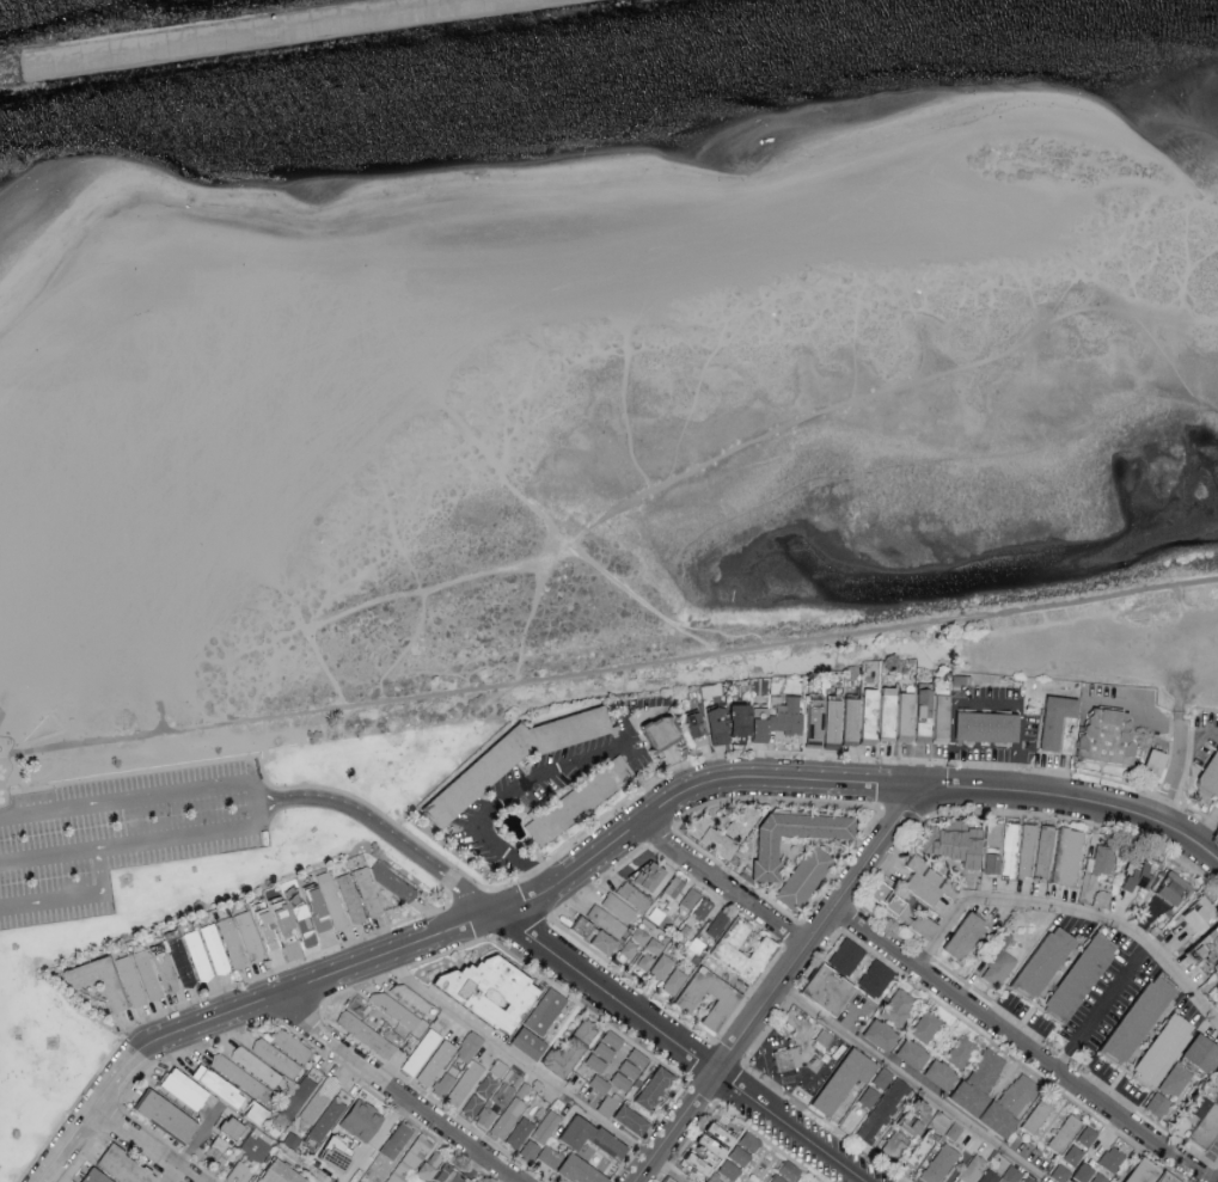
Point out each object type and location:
river: (573, 69)
road: (557, 547)
road: (721, 631)
park: (1107, 648)
road: (608, 669)
road: (987, 706)
road: (1136, 709)
building: (863, 712)
building: (908, 712)
building: (881, 714)
building: (783, 716)
building: (936, 717)
building: (844, 719)
building: (1049, 719)
building: (826, 721)
building: (720, 722)
building: (688, 723)
building: (807, 725)
building: (980, 725)
building: (749, 729)
building: (651, 733)
building: (1101, 734)
road: (1200, 735)
building: (1147, 763)
road: (1179, 768)
building: (1207, 772)
road: (846, 782)
road: (526, 786)
road: (137, 797)
building: (737, 823)
building: (992, 833)
road: (391, 834)
building: (706, 835)
parking lot: (123, 837)
road: (141, 843)
building: (950, 844)
building: (1009, 849)
building: (1026, 850)
building: (1053, 853)
building: (760, 859)
building: (1098, 861)
building: (987, 863)
road: (1186, 868)
building: (1133, 872)
building: (801, 877)
building: (920, 880)
park: (180, 881)
building: (392, 881)
road: (722, 884)
building: (637, 887)
building: (672, 887)
building: (360, 894)
road: (74, 898)
building: (1159, 898)
building: (686, 900)
building: (1100, 900)
building: (617, 907)
building: (700, 908)
building: (893, 911)
building: (301, 912)
building: (1189, 912)
road: (1069, 913)
building: (605, 920)
building: (587, 935)
building: (957, 936)
building: (240, 938)
building: (638, 943)
building: (720, 947)
building: (197, 955)
building: (844, 956)
building: (643, 960)
building: (1038, 961)
building: (996, 962)
building: (659, 967)
building: (1073, 976)
building: (118, 979)
road: (783, 979)
building: (873, 979)
road: (318, 980)
building: (672, 980)
building: (495, 986)
building: (816, 990)
building: (720, 1000)
building: (896, 1008)
road: (1102, 1009)
building: (546, 1010)
building: (398, 1011)
building: (1132, 1018)
building: (924, 1027)
building: (586, 1031)
building: (366, 1034)
building: (874, 1035)
building: (532, 1043)
building: (290, 1046)
building: (470, 1046)
road: (1021, 1046)
road: (680, 1048)
building: (1156, 1049)
building: (605, 1051)
building: (423, 1052)
building: (959, 1052)
building: (1196, 1053)
building: (906, 1054)
building: (275, 1058)
building: (783, 1061)
building: (436, 1062)
building: (258, 1067)
building: (498, 1068)
building: (630, 1070)
building: (984, 1070)
road: (530, 1073)
building: (934, 1074)
building: (237, 1076)
building: (1173, 1079)
building: (838, 1080)
building: (464, 1083)
building: (600, 1084)
road: (910, 1084)
building: (220, 1085)
building: (186, 1088)
building: (657, 1088)
road: (394, 1089)
building: (326, 1090)
building: (1016, 1094)
building: (479, 1096)
building: (298, 1097)
building: (500, 1098)
building: (962, 1098)
building: (1153, 1104)
building: (608, 1106)
building: (1191, 1106)
building: (881, 1110)
building: (913, 1111)
road: (86, 1113)
building: (258, 1113)
building: (308, 1113)
building: (169, 1114)
building: (1034, 1114)
building: (508, 1117)
building: (634, 1119)
building: (328, 1120)
building: (992, 1120)
building: (363, 1121)
building: (936, 1122)
building: (546, 1126)
building: (234, 1127)
building: (520, 1132)
building: (951, 1132)
building: (1060, 1133)
building: (1207, 1134)
building: (594, 1135)
building: (898, 1139)
road: (197, 1140)
building: (397, 1140)
building: (751, 1141)
building: (220, 1143)
road: (143, 1144)
building: (256, 1145)
building: (530, 1149)
building: (710, 1152)
building: (339, 1155)
building: (550, 1156)
building: (740, 1156)
building: (1073, 1157)
building: (411, 1159)
building: (1109, 1159)
building: (431, 1164)
building: (937, 1164)
building: (127, 1166)
building: (584, 1169)
building: (971, 1169)
building: (730, 1170)
building: (1137, 1171)
building: (239, 1172)
building: (787, 1172)
road: (169, 1174)
building: (283, 1174)
building: (448, 1175)
building: (1014, 1175)
building: (99, 1176)
building: (987, 1176)
building: (1098, 1178)
building: (1165, 1178)
building: (671, 1181)

